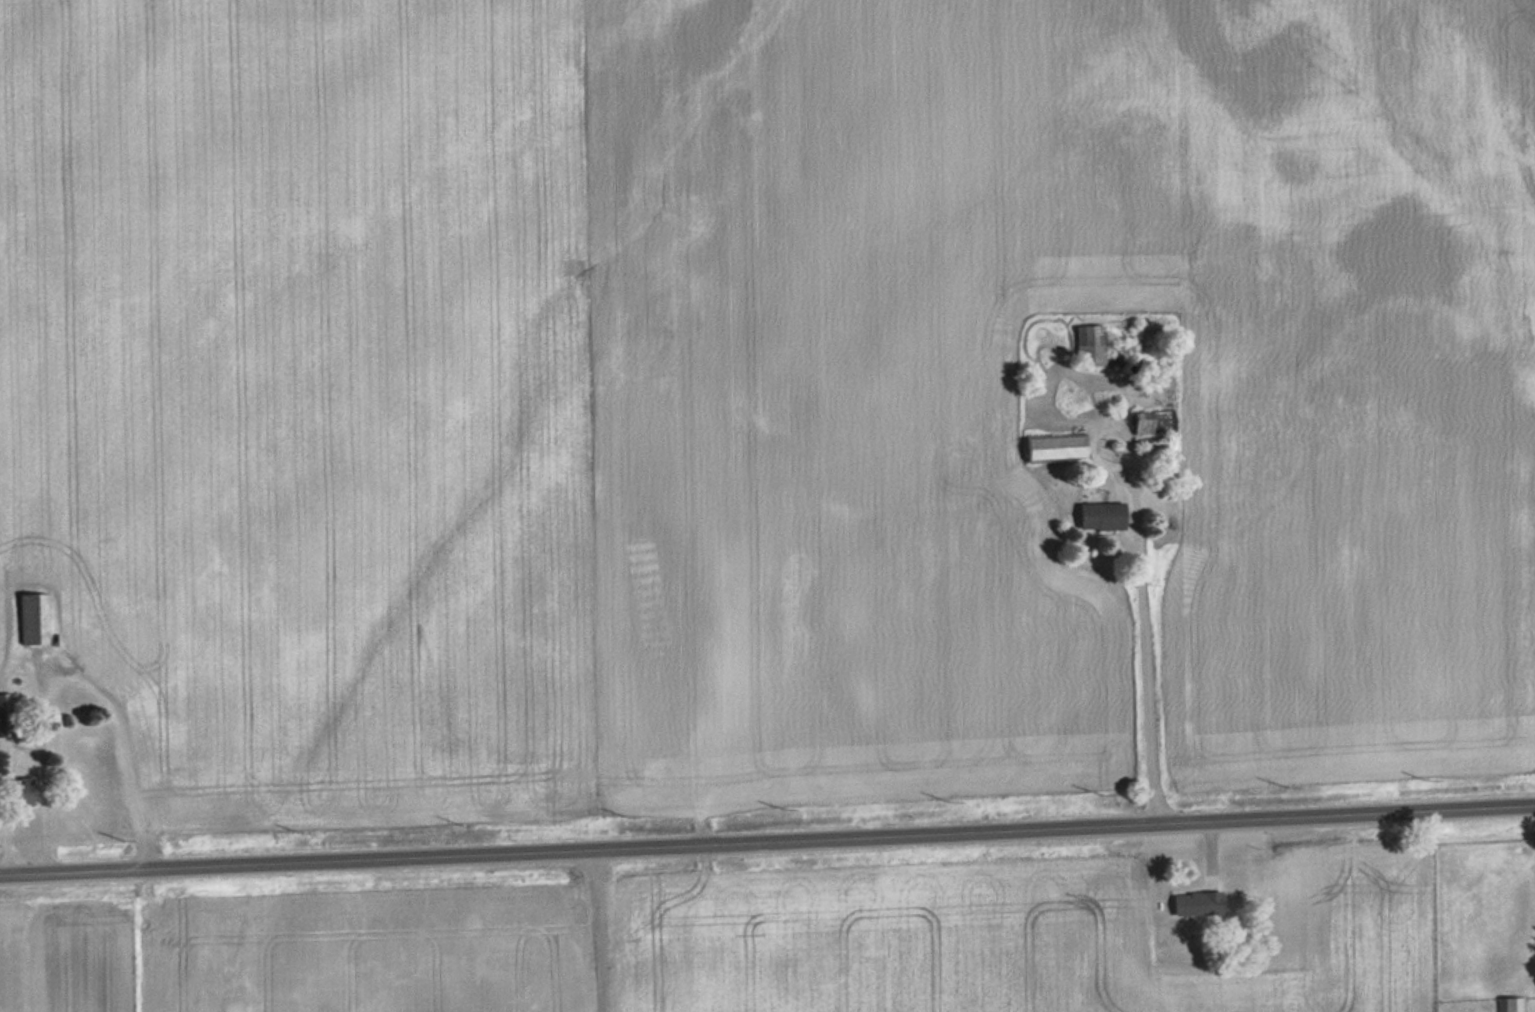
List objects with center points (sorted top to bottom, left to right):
building: (1087, 346)
building: (1137, 422)
building: (1052, 446)
building: (1097, 515)
building: (34, 618)
building: (112, 644)
building: (3, 714)
building: (14, 792)
road: (767, 837)
building: (1193, 902)
road: (596, 928)
building: (1510, 1003)

